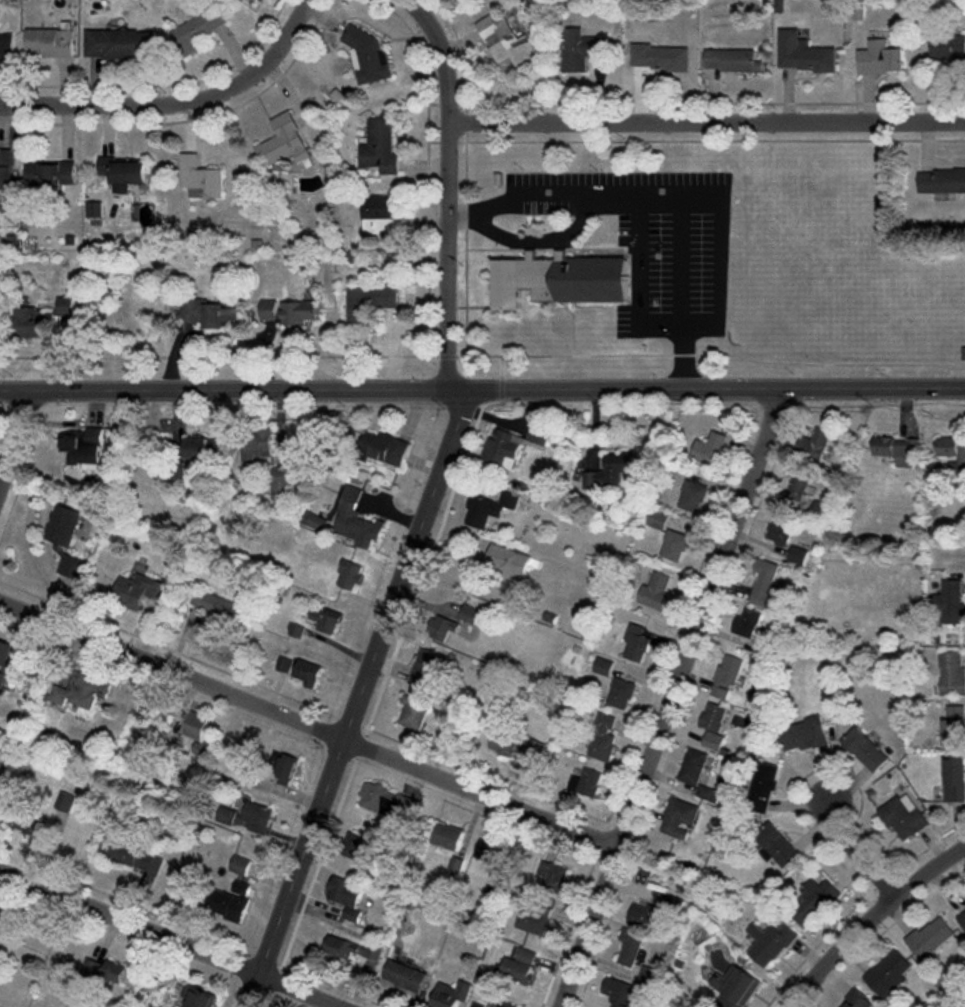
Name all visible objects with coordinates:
building: (212, 20)
building: (507, 41)
building: (50, 42)
building: (114, 43)
building: (7, 46)
building: (949, 48)
building: (581, 49)
building: (803, 53)
building: (369, 57)
building: (659, 57)
building: (880, 58)
building: (733, 60)
road: (173, 101)
road: (706, 122)
building: (284, 141)
building: (381, 145)
building: (6, 169)
building: (51, 172)
building: (124, 172)
building: (200, 178)
building: (941, 181)
road: (592, 196)
building: (94, 209)
building: (381, 214)
road: (458, 214)
building: (561, 279)
building: (369, 302)
building: (65, 305)
building: (289, 311)
building: (210, 313)
building: (33, 322)
road: (482, 388)
road: (17, 440)
building: (513, 445)
building: (815, 445)
building: (895, 446)
building: (84, 447)
building: (204, 447)
building: (951, 447)
building: (257, 448)
building: (384, 448)
building: (710, 449)
building: (610, 470)
building: (281, 482)
building: (798, 485)
building: (693, 496)
road: (426, 507)
building: (489, 508)
building: (357, 519)
building: (658, 520)
building: (314, 521)
building: (781, 529)
building: (65, 540)
building: (675, 545)
building: (798, 555)
building: (508, 559)
building: (350, 574)
building: (764, 584)
building: (138, 590)
building: (661, 591)
building: (950, 601)
building: (217, 604)
building: (470, 613)
building: (328, 619)
building: (748, 623)
building: (443, 629)
building: (297, 630)
building: (636, 642)
building: (7, 657)
building: (284, 664)
building: (603, 666)
building: (427, 669)
building: (309, 672)
building: (952, 673)
building: (728, 675)
building: (2, 678)
building: (81, 690)
building: (621, 693)
road: (671, 698)
building: (413, 711)
building: (714, 717)
road: (306, 723)
building: (954, 725)
building: (199, 733)
building: (804, 734)
building: (603, 739)
building: (714, 740)
building: (515, 744)
building: (866, 749)
building: (693, 766)
building: (287, 769)
building: (955, 779)
building: (586, 782)
building: (763, 787)
building: (708, 793)
building: (65, 801)
building: (388, 802)
building: (904, 816)
building: (249, 817)
building: (679, 817)
building: (30, 825)
building: (447, 835)
building: (360, 845)
building: (776, 846)
road: (853, 849)
building: (490, 852)
building: (129, 853)
building: (240, 865)
building: (552, 876)
building: (495, 884)
building: (241, 887)
building: (345, 892)
building: (812, 901)
building: (228, 904)
building: (351, 914)
road: (868, 914)
building: (648, 918)
building: (962, 918)
building: (2, 919)
building: (533, 920)
building: (930, 937)
road: (175, 938)
building: (770, 942)
building: (630, 947)
building: (353, 949)
building: (519, 964)
building: (108, 970)
building: (889, 973)
building: (404, 975)
building: (649, 976)
building: (736, 987)
building: (618, 991)
building: (451, 994)
building: (198, 997)
building: (858, 1000)
building: (492, 1004)

